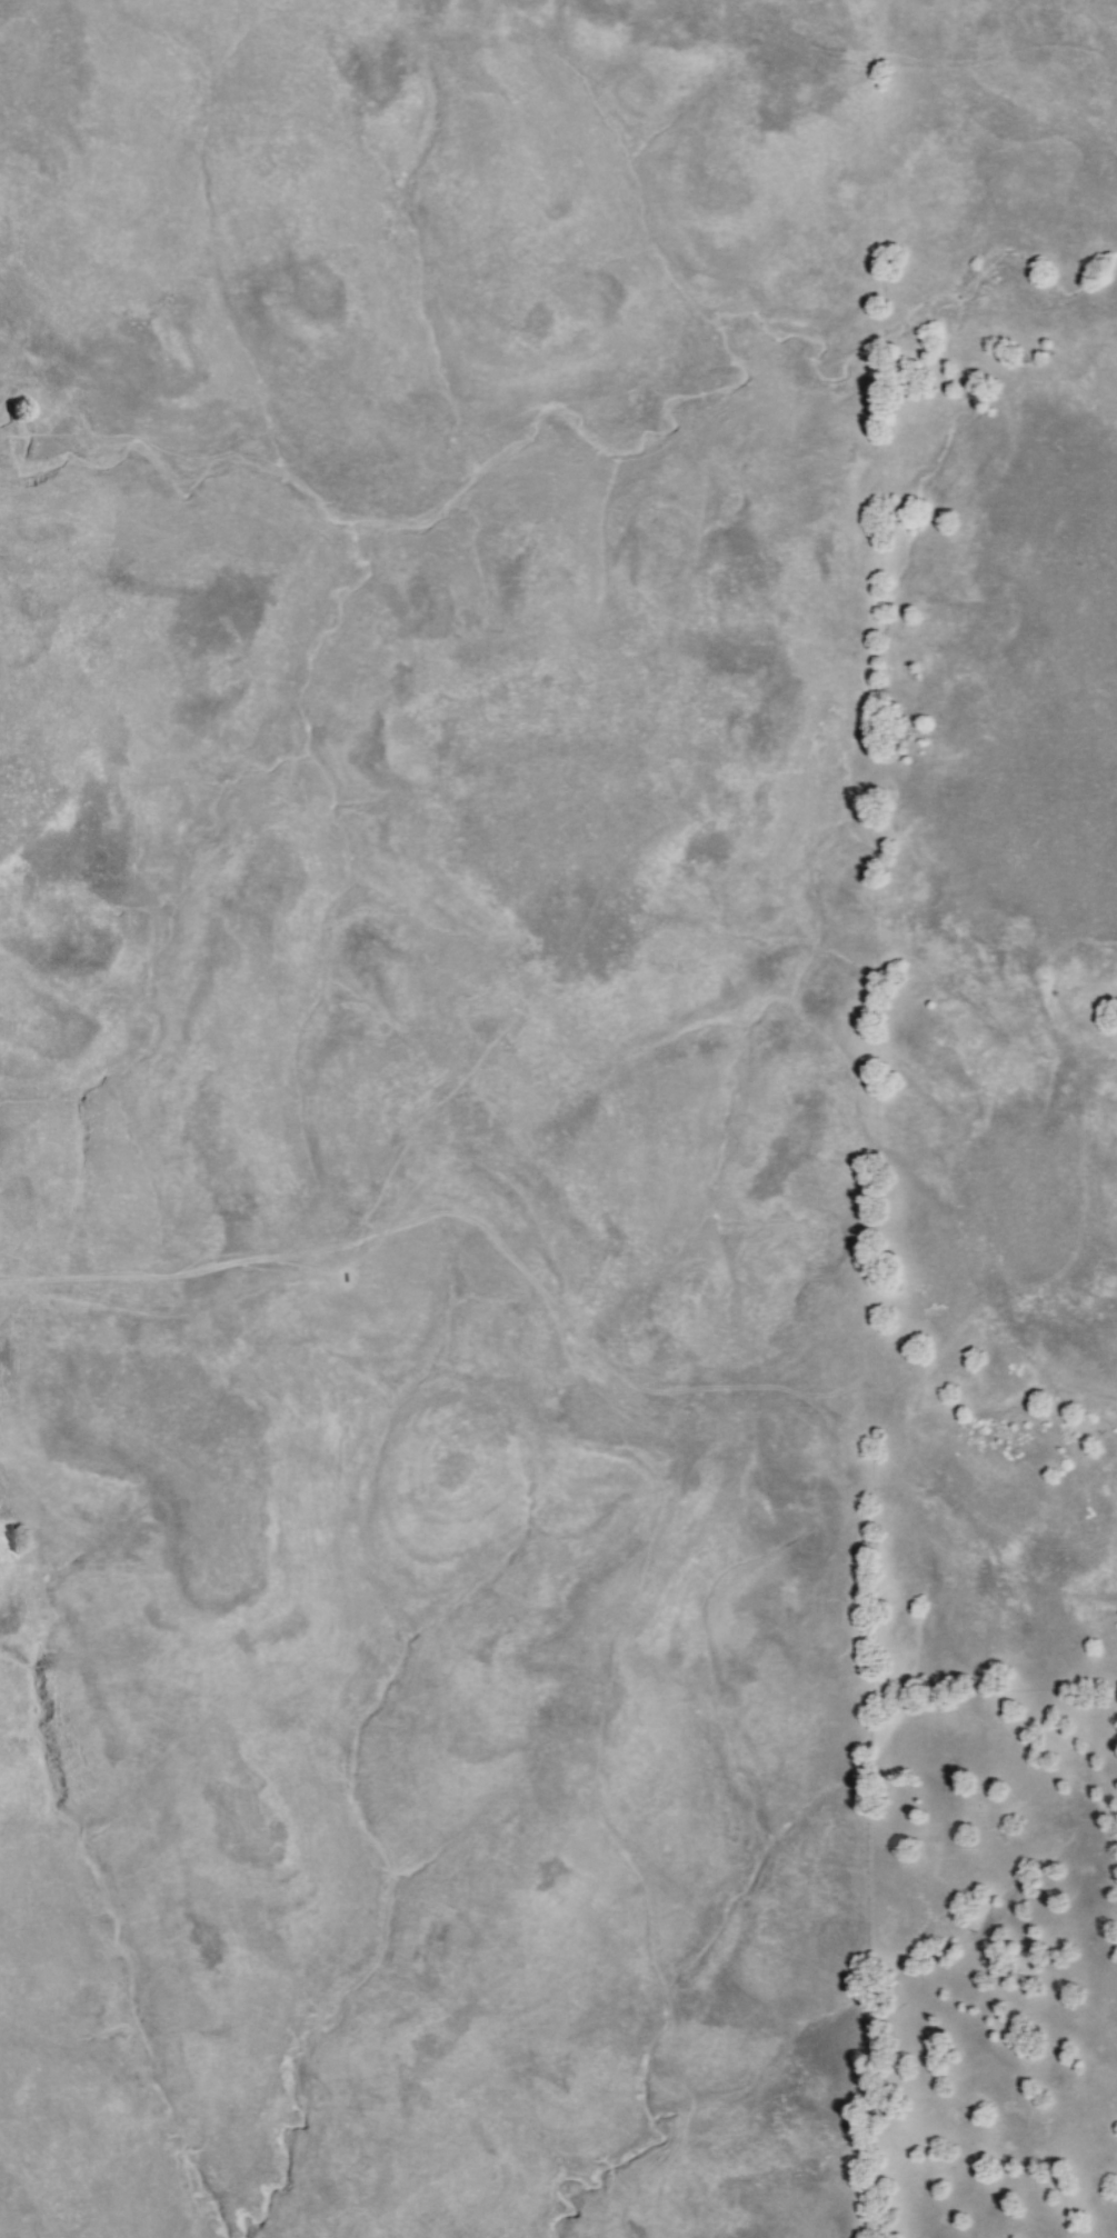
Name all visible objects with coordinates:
road: (637, 1387)

